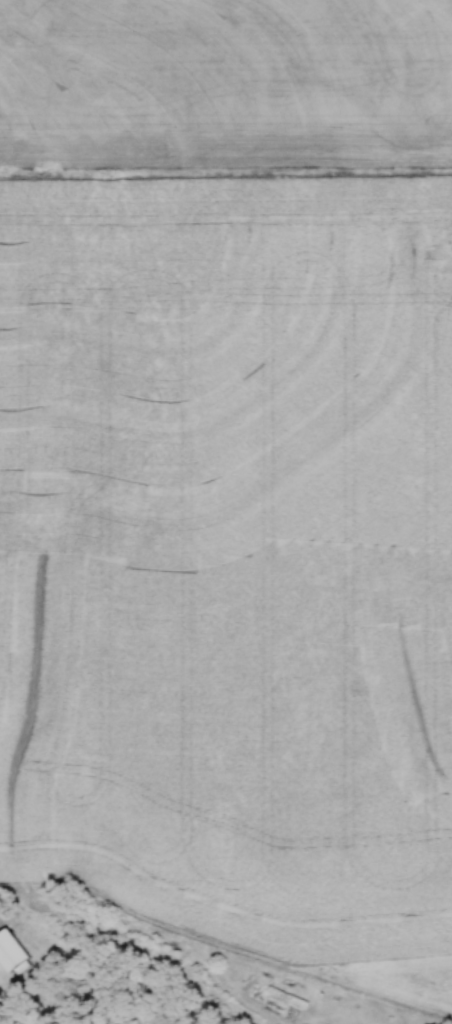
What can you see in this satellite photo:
building: (6, 958)

